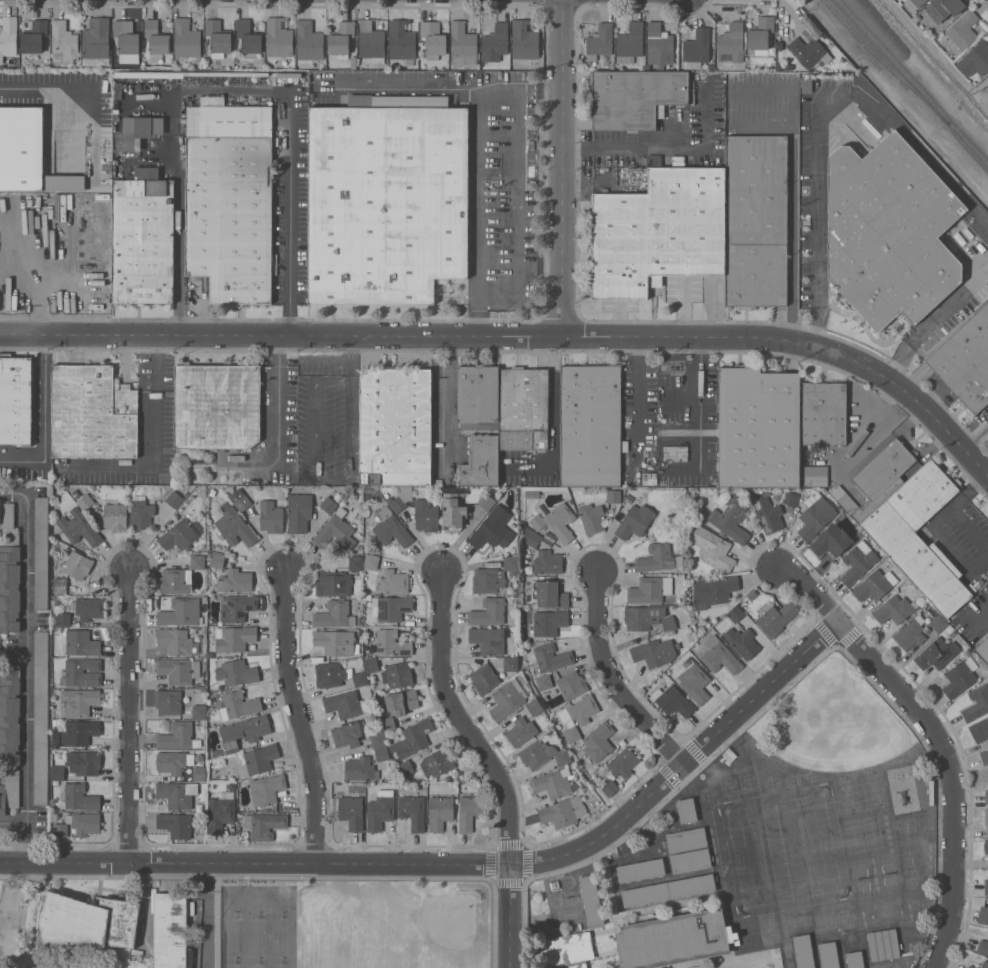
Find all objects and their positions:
building: (913, 4)
building: (943, 8)
road: (791, 16)
building: (962, 29)
building: (760, 34)
building: (8, 36)
building: (35, 36)
building: (126, 36)
building: (279, 36)
building: (157, 37)
building: (218, 37)
building: (249, 37)
building: (187, 39)
building: (341, 39)
building: (433, 39)
building: (524, 39)
building: (309, 40)
building: (599, 40)
building: (64, 41)
building: (371, 41)
building: (402, 41)
building: (96, 42)
building: (630, 42)
building: (494, 43)
building: (731, 43)
building: (462, 44)
building: (659, 44)
building: (696, 48)
building: (807, 50)
building: (975, 59)
building: (354, 61)
railway: (884, 61)
building: (191, 73)
railway: (913, 81)
building: (806, 83)
road: (43, 86)
road: (399, 87)
road: (524, 91)
building: (634, 97)
road: (818, 111)
building: (137, 131)
building: (275, 140)
building: (21, 147)
road: (665, 148)
building: (277, 168)
road: (563, 168)
building: (386, 198)
building: (229, 199)
road: (517, 210)
road: (483, 212)
road: (289, 215)
road: (179, 216)
petroleum well: (80, 220)
building: (756, 220)
building: (659, 230)
building: (889, 231)
road: (791, 234)
building: (143, 238)
petroleum well: (89, 262)
road: (540, 264)
road: (935, 322)
road: (414, 336)
road: (350, 348)
road: (325, 360)
building: (965, 361)
road: (350, 371)
road: (42, 396)
building: (477, 396)
road: (158, 398)
road: (916, 398)
building: (15, 399)
road: (445, 401)
road: (636, 401)
road: (279, 403)
building: (216, 405)
road: (700, 405)
building: (523, 408)
building: (93, 412)
building: (823, 413)
building: (590, 424)
building: (395, 426)
building: (758, 427)
road: (868, 427)
road: (973, 431)
building: (674, 453)
road: (21, 459)
building: (202, 459)
building: (481, 460)
building: (814, 475)
road: (315, 477)
building: (881, 477)
building: (197, 480)
building: (436, 481)
road: (13, 493)
building: (531, 493)
building: (613, 496)
building: (841, 496)
building: (338, 497)
building: (791, 498)
building: (174, 499)
building: (240, 499)
building: (85, 501)
building: (486, 501)
building: (328, 504)
building: (416, 508)
building: (141, 512)
building: (299, 512)
building: (366, 512)
building: (452, 512)
building: (768, 514)
building: (7, 515)
building: (115, 515)
building: (271, 516)
building: (591, 517)
building: (731, 517)
building: (815, 517)
building: (555, 521)
building: (634, 521)
building: (235, 526)
building: (79, 527)
building: (391, 528)
building: (493, 529)
building: (10, 530)
building: (335, 530)
building: (181, 534)
building: (918, 535)
building: (530, 536)
building: (832, 541)
building: (713, 547)
building: (41, 552)
building: (657, 558)
building: (217, 560)
building: (196, 561)
building: (371, 561)
building: (511, 562)
building: (547, 562)
building: (858, 562)
building: (356, 563)
building: (77, 565)
building: (175, 580)
building: (488, 580)
building: (235, 581)
building: (392, 581)
building: (333, 583)
building: (510, 583)
building: (10, 584)
building: (59, 584)
building: (874, 585)
building: (650, 589)
building: (713, 591)
building: (549, 593)
building: (752, 595)
building: (56, 602)
building: (237, 607)
building: (90, 608)
building: (392, 608)
building: (894, 609)
building: (488, 611)
building: (180, 612)
building: (933, 612)
building: (334, 614)
building: (736, 614)
building: (642, 616)
road: (981, 616)
building: (777, 617)
building: (63, 619)
building: (938, 622)
building: (546, 623)
building: (668, 623)
building: (193, 629)
building: (359, 632)
building: (910, 632)
building: (234, 638)
building: (488, 639)
building: (177, 641)
building: (335, 641)
building: (742, 641)
building: (80, 642)
building: (392, 642)
building: (983, 649)
building: (655, 652)
building: (937, 653)
building: (719, 655)
building: (550, 658)
building: (510, 663)
building: (371, 665)
building: (178, 670)
road: (25, 671)
building: (81, 671)
building: (236, 672)
building: (397, 674)
building: (337, 675)
building: (960, 677)
building: (484, 678)
road: (613, 680)
building: (544, 681)
building: (695, 682)
building: (571, 684)
building: (508, 699)
building: (673, 700)
building: (78, 701)
building: (168, 701)
building: (400, 701)
building: (976, 703)
building: (238, 704)
building: (344, 704)
building: (535, 707)
building: (199, 711)
building: (577, 716)
building: (40, 717)
road: (129, 719)
road: (300, 719)
road: (463, 721)
building: (388, 724)
building: (980, 729)
building: (244, 731)
building: (521, 731)
building: (78, 732)
building: (348, 733)
building: (9, 734)
building: (178, 736)
road: (938, 737)
building: (412, 738)
building: (377, 739)
building: (598, 741)
building: (382, 753)
building: (214, 754)
building: (542, 754)
building: (984, 756)
building: (259, 759)
building: (172, 761)
building: (84, 762)
building: (623, 762)
building: (436, 763)
building: (405, 767)
building: (360, 768)
building: (57, 772)
building: (199, 773)
building: (55, 782)
building: (553, 782)
building: (609, 787)
building: (266, 789)
park: (873, 789)
building: (177, 793)
park: (846, 794)
building: (986, 796)
building: (78, 797)
building: (380, 809)
building: (686, 810)
building: (220, 811)
building: (351, 811)
building: (412, 811)
building: (470, 811)
building: (563, 811)
building: (439, 812)
building: (986, 818)
building: (79, 824)
building: (175, 824)
building: (264, 824)
building: (686, 839)
road: (25, 844)
building: (986, 845)
track: (783, 850)
building: (690, 860)
road: (462, 865)
building: (640, 870)
building: (554, 884)
building: (986, 886)
building: (668, 890)
building: (591, 900)
road: (146, 905)
building: (983, 914)
road: (510, 916)
road: (205, 917)
building: (80, 923)
building: (170, 929)
building: (672, 938)
building: (883, 944)
building: (982, 946)
building: (567, 950)
building: (803, 951)
building: (828, 954)
building: (854, 959)
park: (279, 964)
building: (984, 964)
park: (234, 965)
park: (257, 965)
building: (971, 966)

